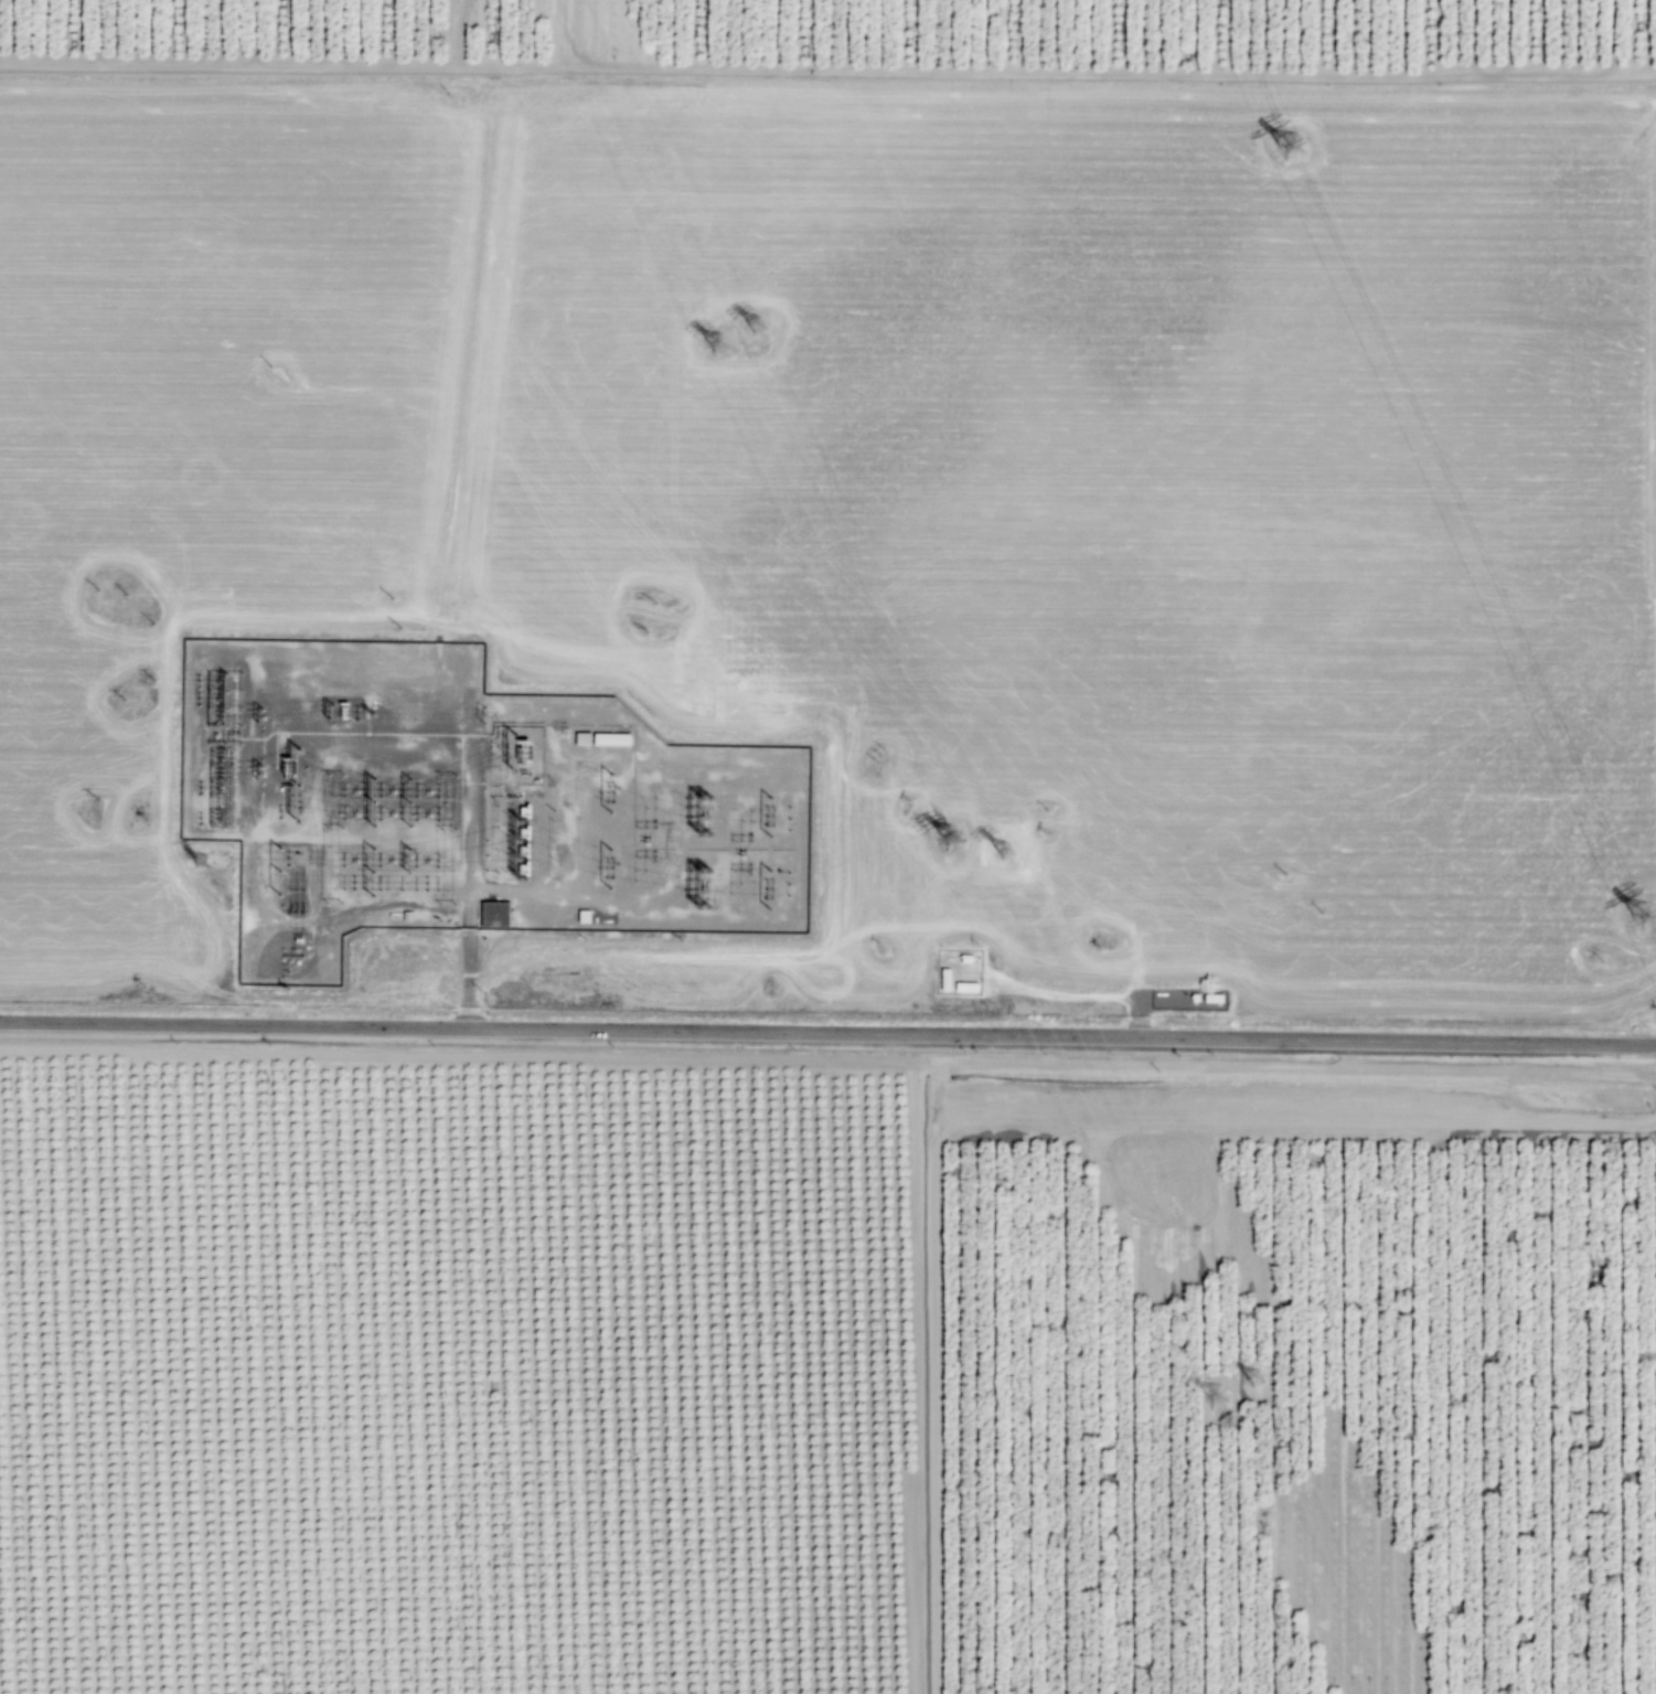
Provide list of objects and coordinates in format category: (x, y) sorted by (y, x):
road: (704, 34)
road: (811, 35)
road: (912, 35)
road: (1018, 36)
road: (1122, 36)
road: (1228, 38)
road: (1438, 38)
road: (1329, 39)
road: (827, 71)
power tower: (1292, 147)
power tower: (755, 327)
power tower: (717, 345)
power substation: (468, 805)
power tower: (949, 838)
power tower: (1007, 851)
power tower: (200, 860)
road: (470, 878)
building: (496, 915)
power tower: (1647, 918)
road: (827, 1033)
road: (827, 1059)
road: (1276, 1121)
road: (916, 1377)
power tower: (1253, 1379)
power tower: (1211, 1396)
road: (932, 1400)

